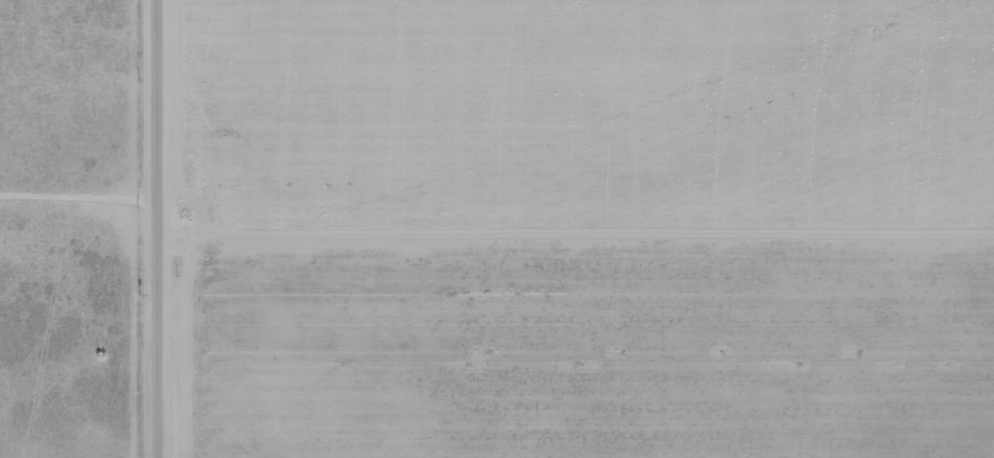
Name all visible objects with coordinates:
road: (147, 229)

